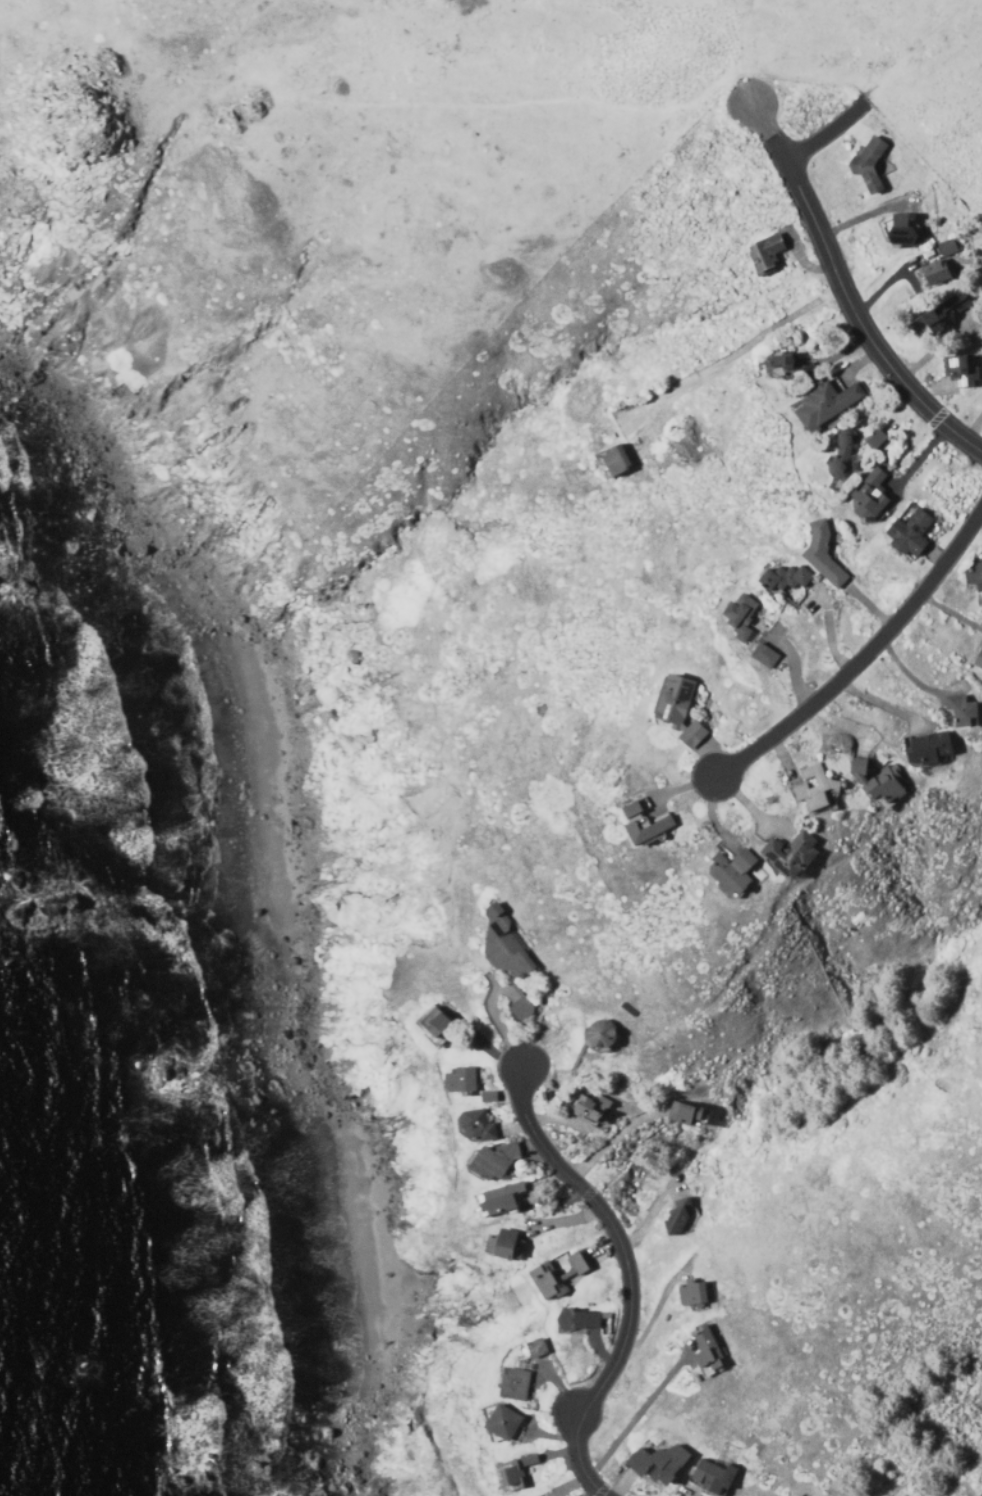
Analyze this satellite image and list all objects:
road: (916, 50)
road: (804, 81)
road: (402, 106)
road: (826, 136)
building: (867, 166)
building: (901, 231)
building: (947, 247)
building: (764, 255)
building: (935, 272)
road: (844, 294)
building: (943, 315)
building: (963, 370)
building: (980, 405)
building: (828, 406)
building: (874, 439)
building: (612, 462)
building: (908, 535)
building: (981, 553)
building: (974, 578)
road: (863, 659)
building: (978, 661)
building: (959, 713)
building: (497, 1200)
building: (504, 1245)
road: (629, 1275)
building: (696, 1294)
building: (707, 1350)
building: (513, 1384)
building: (504, 1423)
building: (659, 1464)
building: (513, 1473)
building: (710, 1477)

